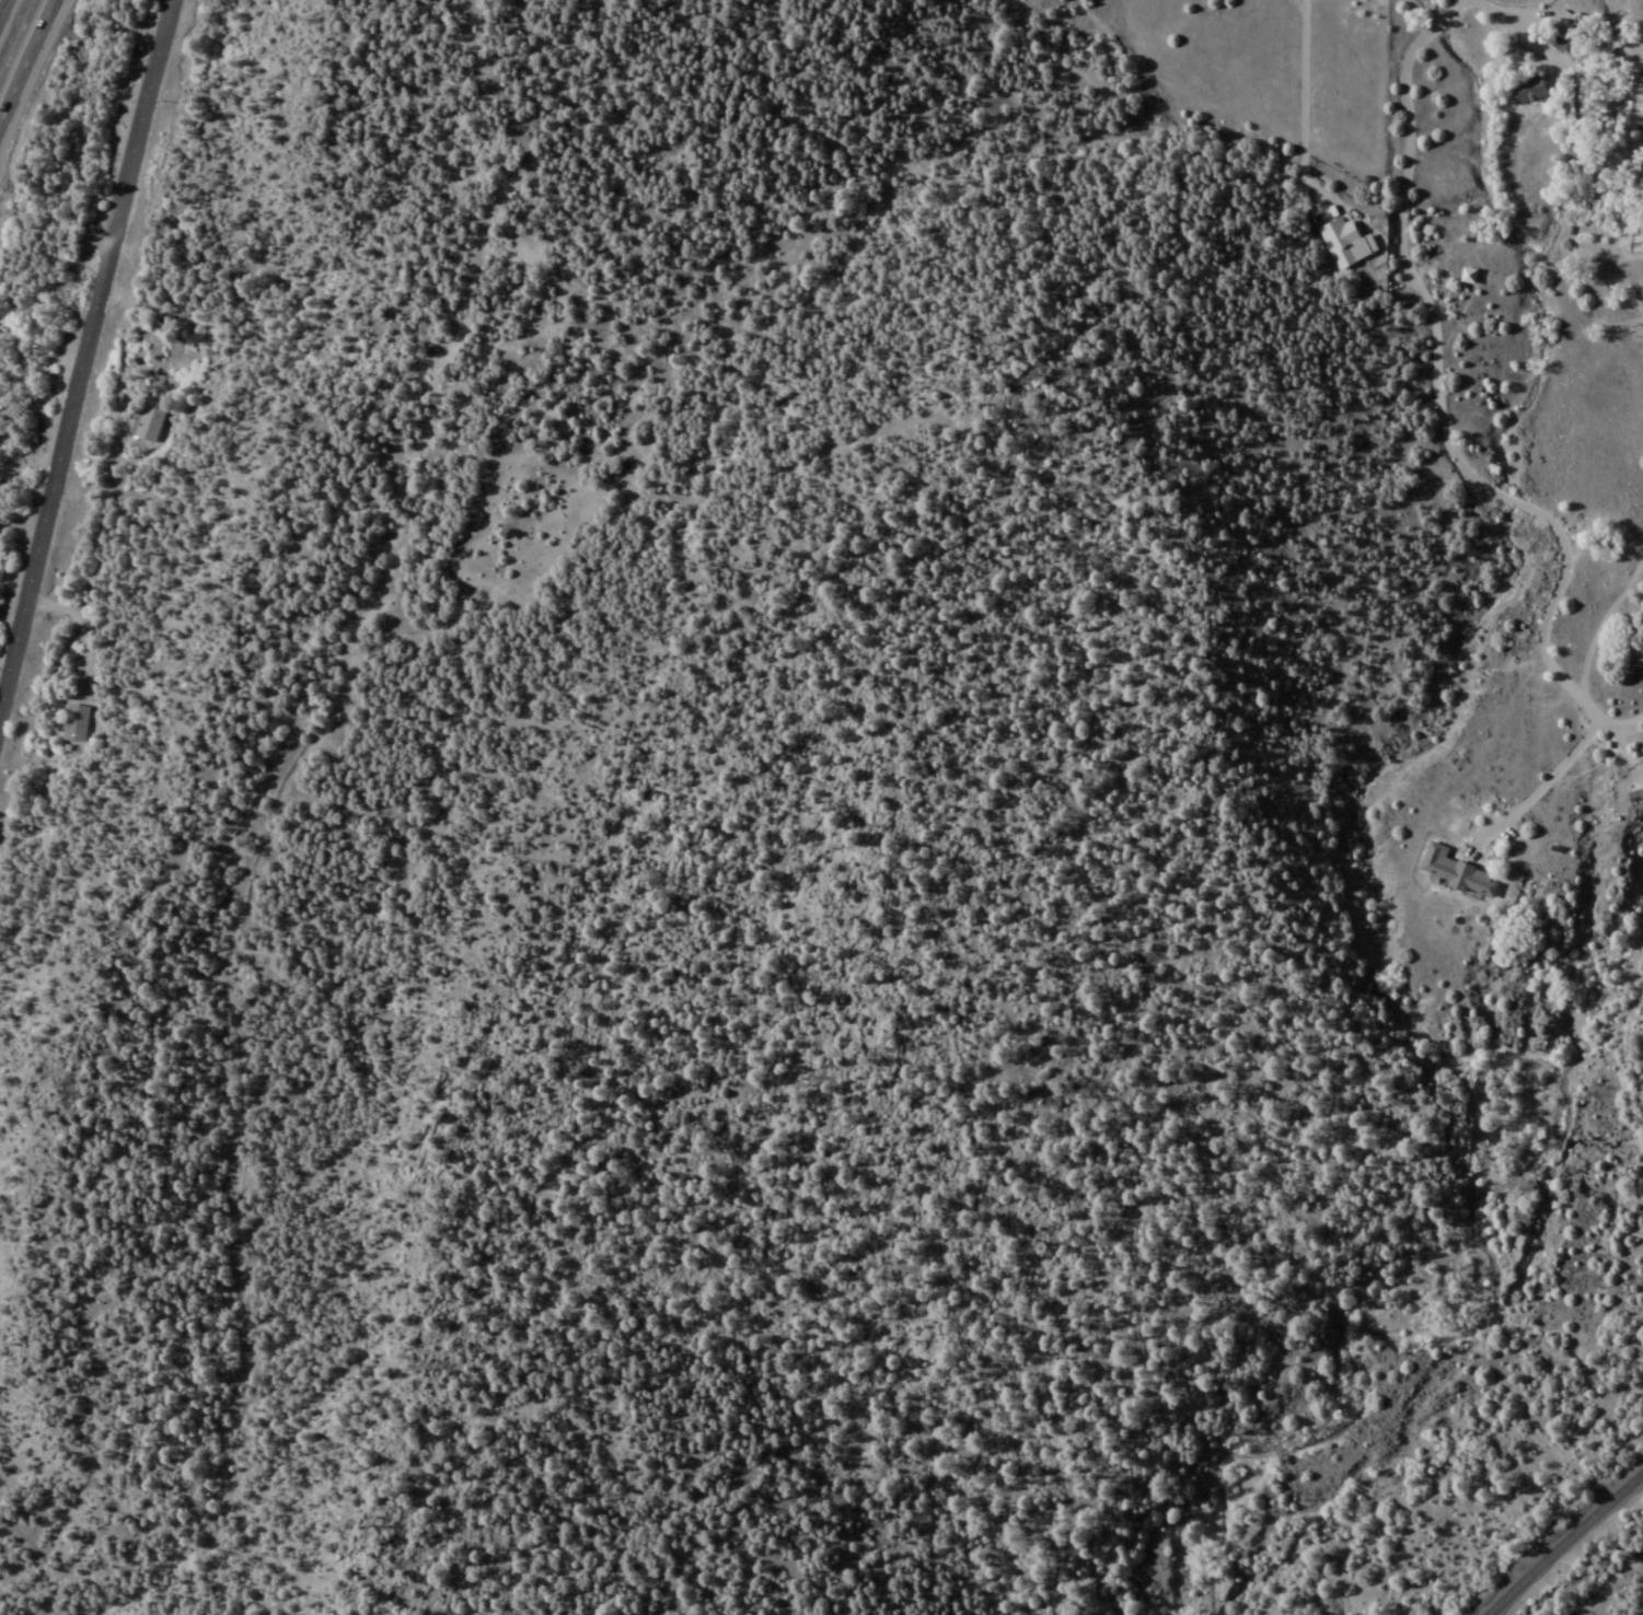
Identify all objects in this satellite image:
road: (7, 16)
building: (1561, 26)
road: (33, 70)
building: (1527, 90)
building: (1634, 100)
building: (1342, 241)
building: (1467, 276)
road: (81, 324)
building: (150, 421)
building: (74, 722)
building: (1454, 872)
railway: (1562, 1542)

